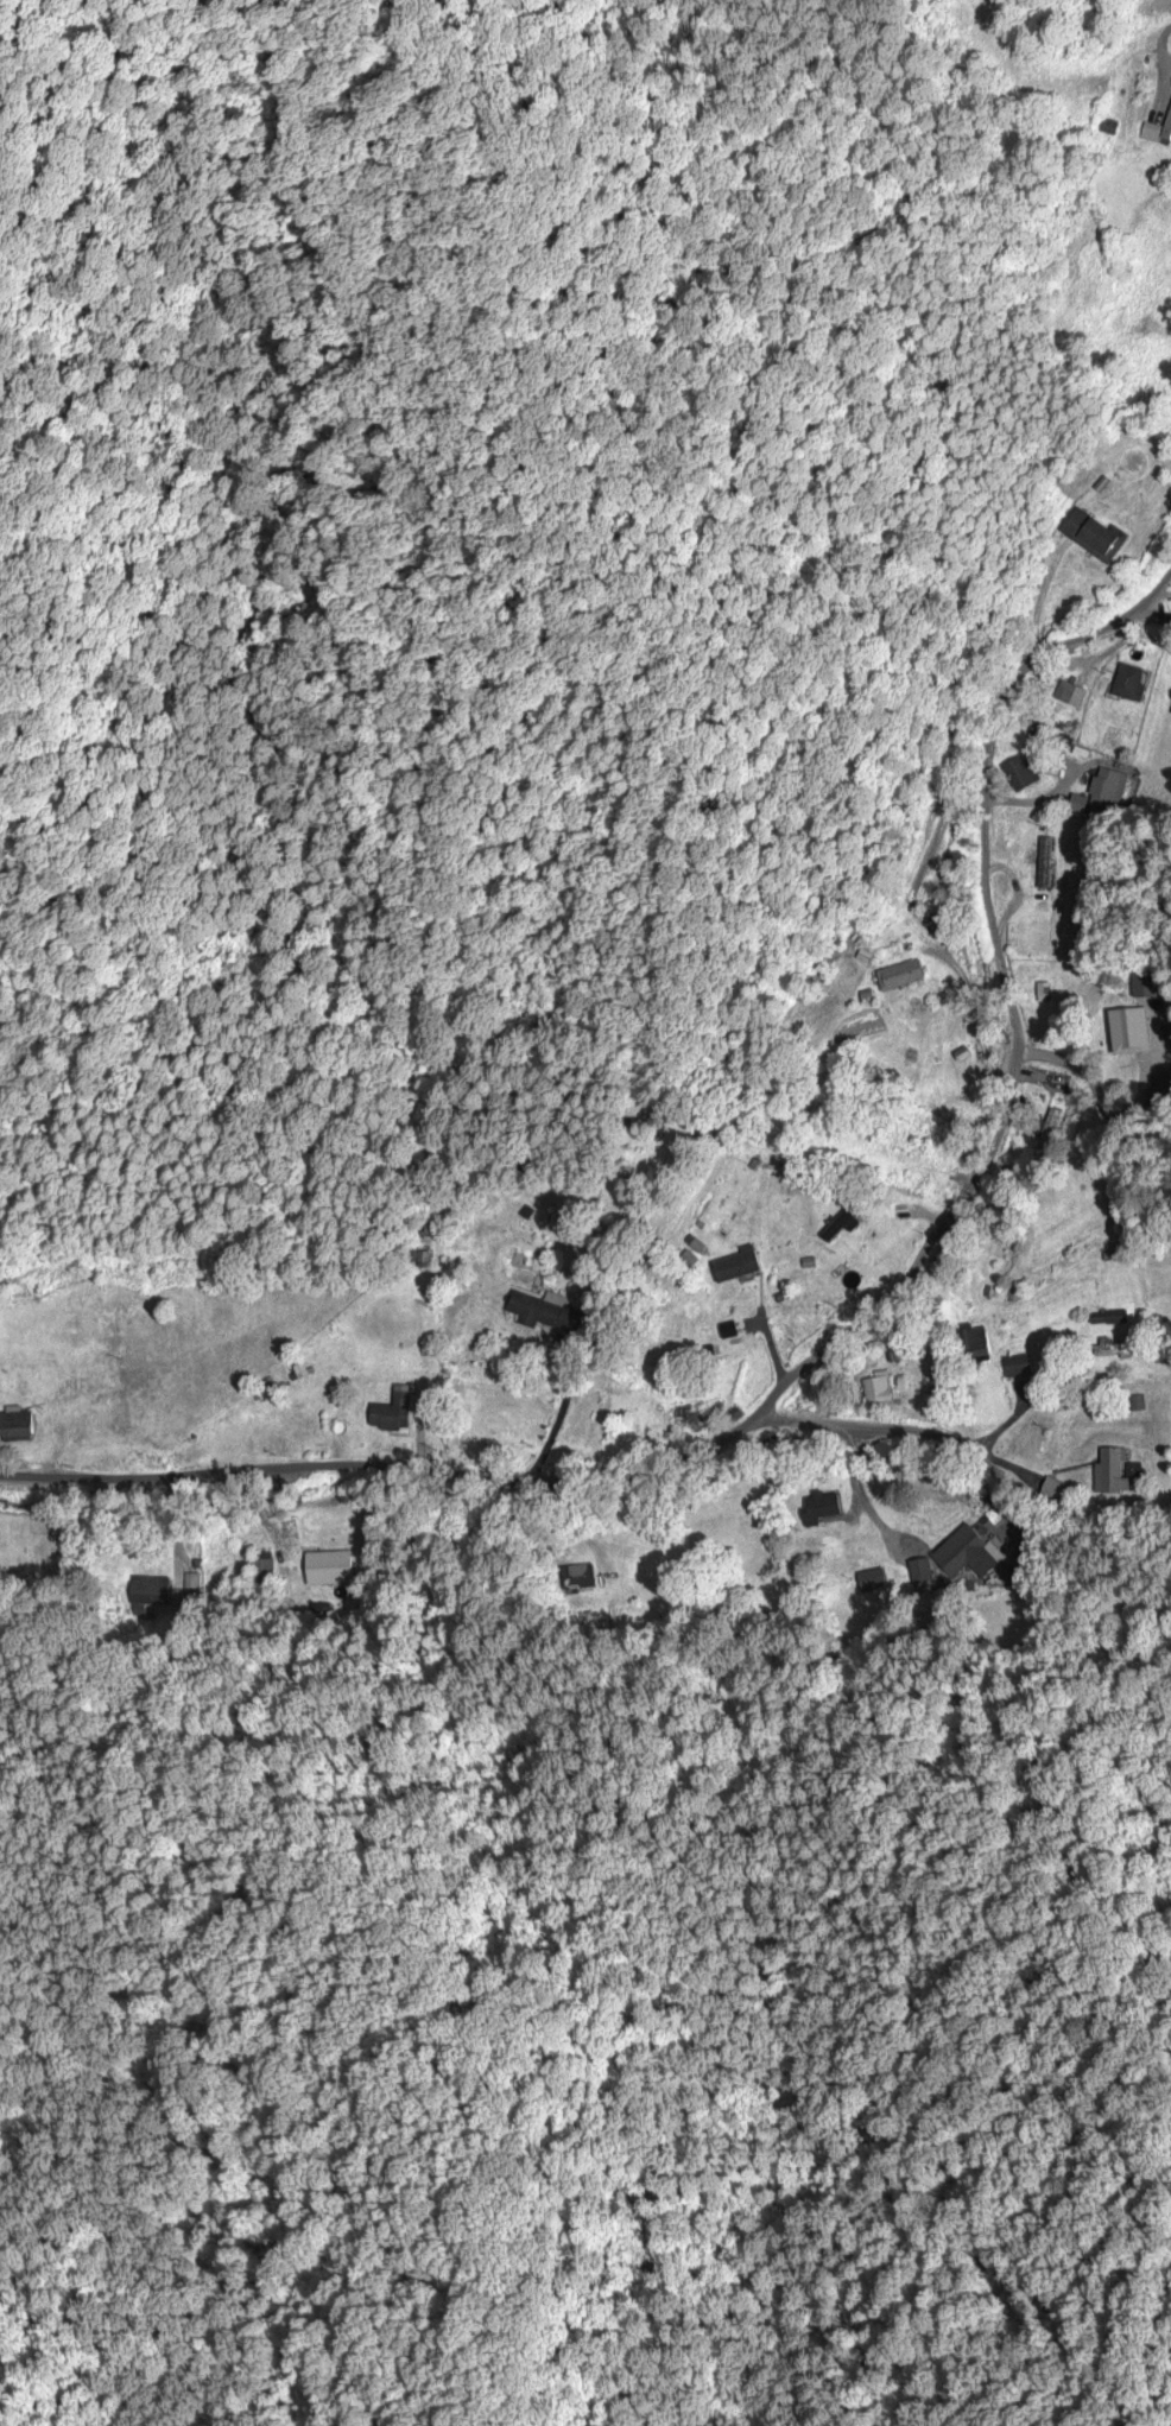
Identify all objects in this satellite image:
building: (1157, 132)
building: (1094, 537)
building: (1129, 684)
building: (1070, 696)
building: (1020, 774)
building: (1104, 792)
building: (1045, 864)
building: (901, 977)
building: (1145, 984)
road: (1007, 1000)
road: (1044, 1053)
building: (762, 1161)
park: (513, 1182)
road: (920, 1214)
building: (843, 1222)
building: (721, 1275)
building: (550, 1315)
building: (1109, 1318)
building: (707, 1320)
road: (765, 1332)
building: (975, 1344)
building: (1113, 1348)
building: (1018, 1366)
building: (48, 1377)
building: (878, 1389)
road: (559, 1412)
building: (393, 1413)
building: (691, 1418)
building: (15, 1426)
building: (297, 1436)
road: (971, 1451)
road: (382, 1464)
building: (1113, 1472)
building: (819, 1508)
building: (960, 1560)
building: (650, 1567)
building: (329, 1571)
building: (871, 1582)
building: (158, 1595)

